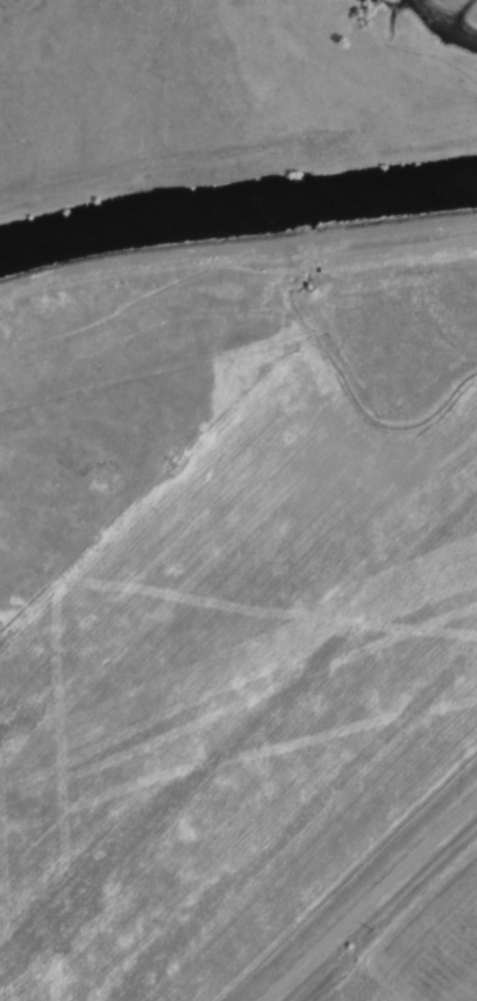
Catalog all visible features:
road: (373, 901)

